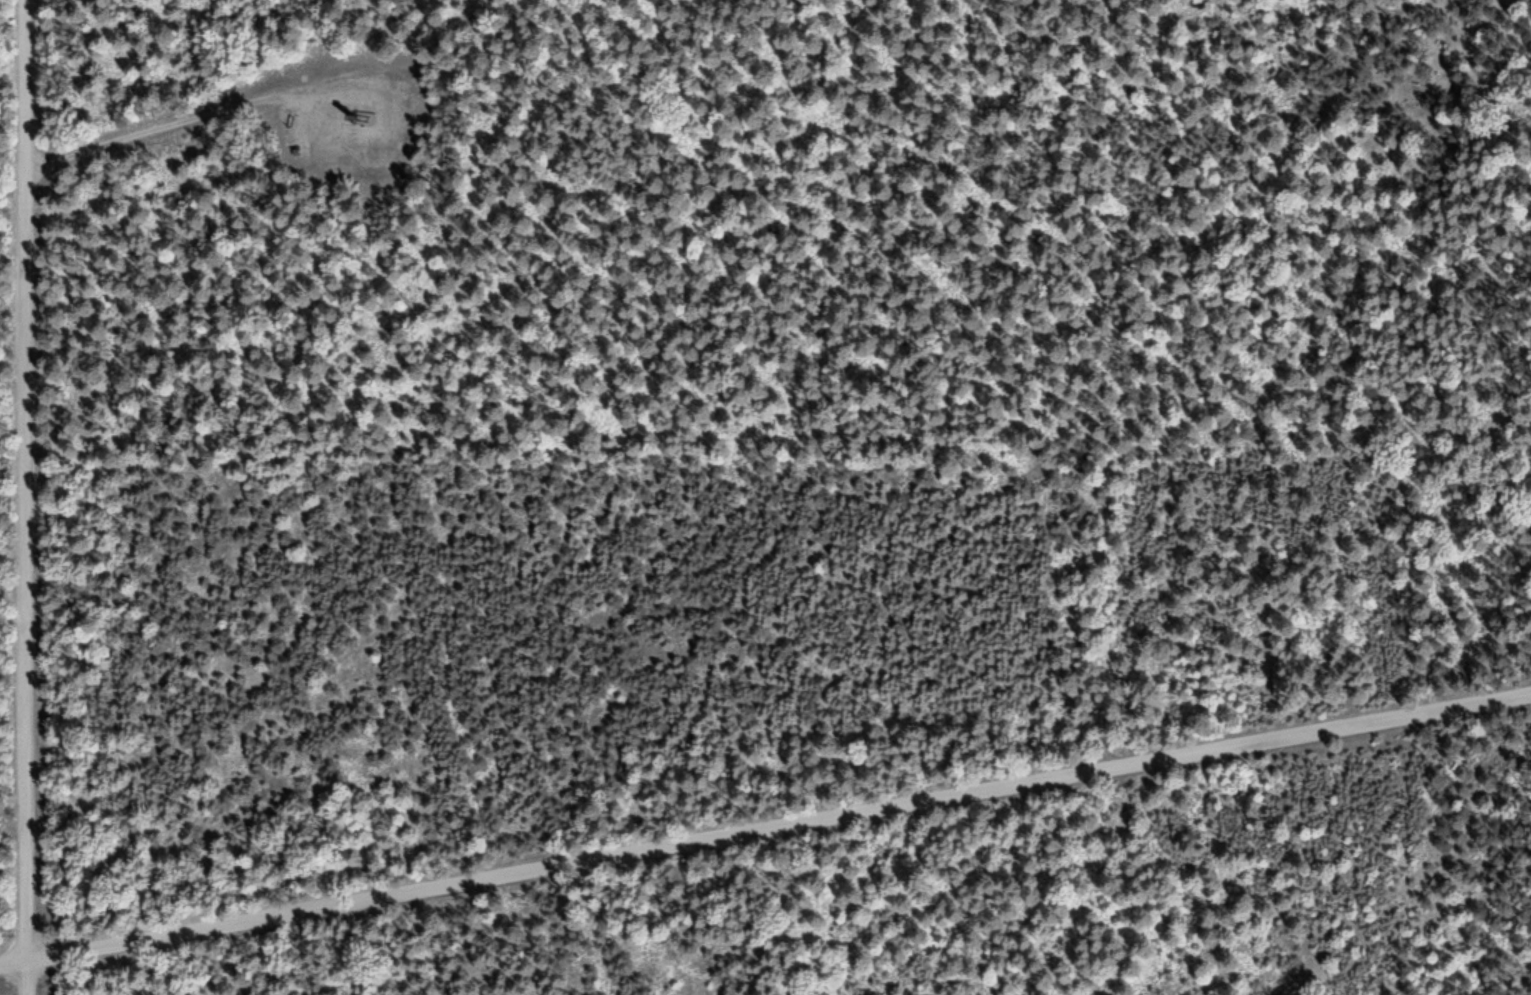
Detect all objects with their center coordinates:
road: (296, 96)
petroleum well: (354, 107)
road: (28, 497)
road: (765, 829)

